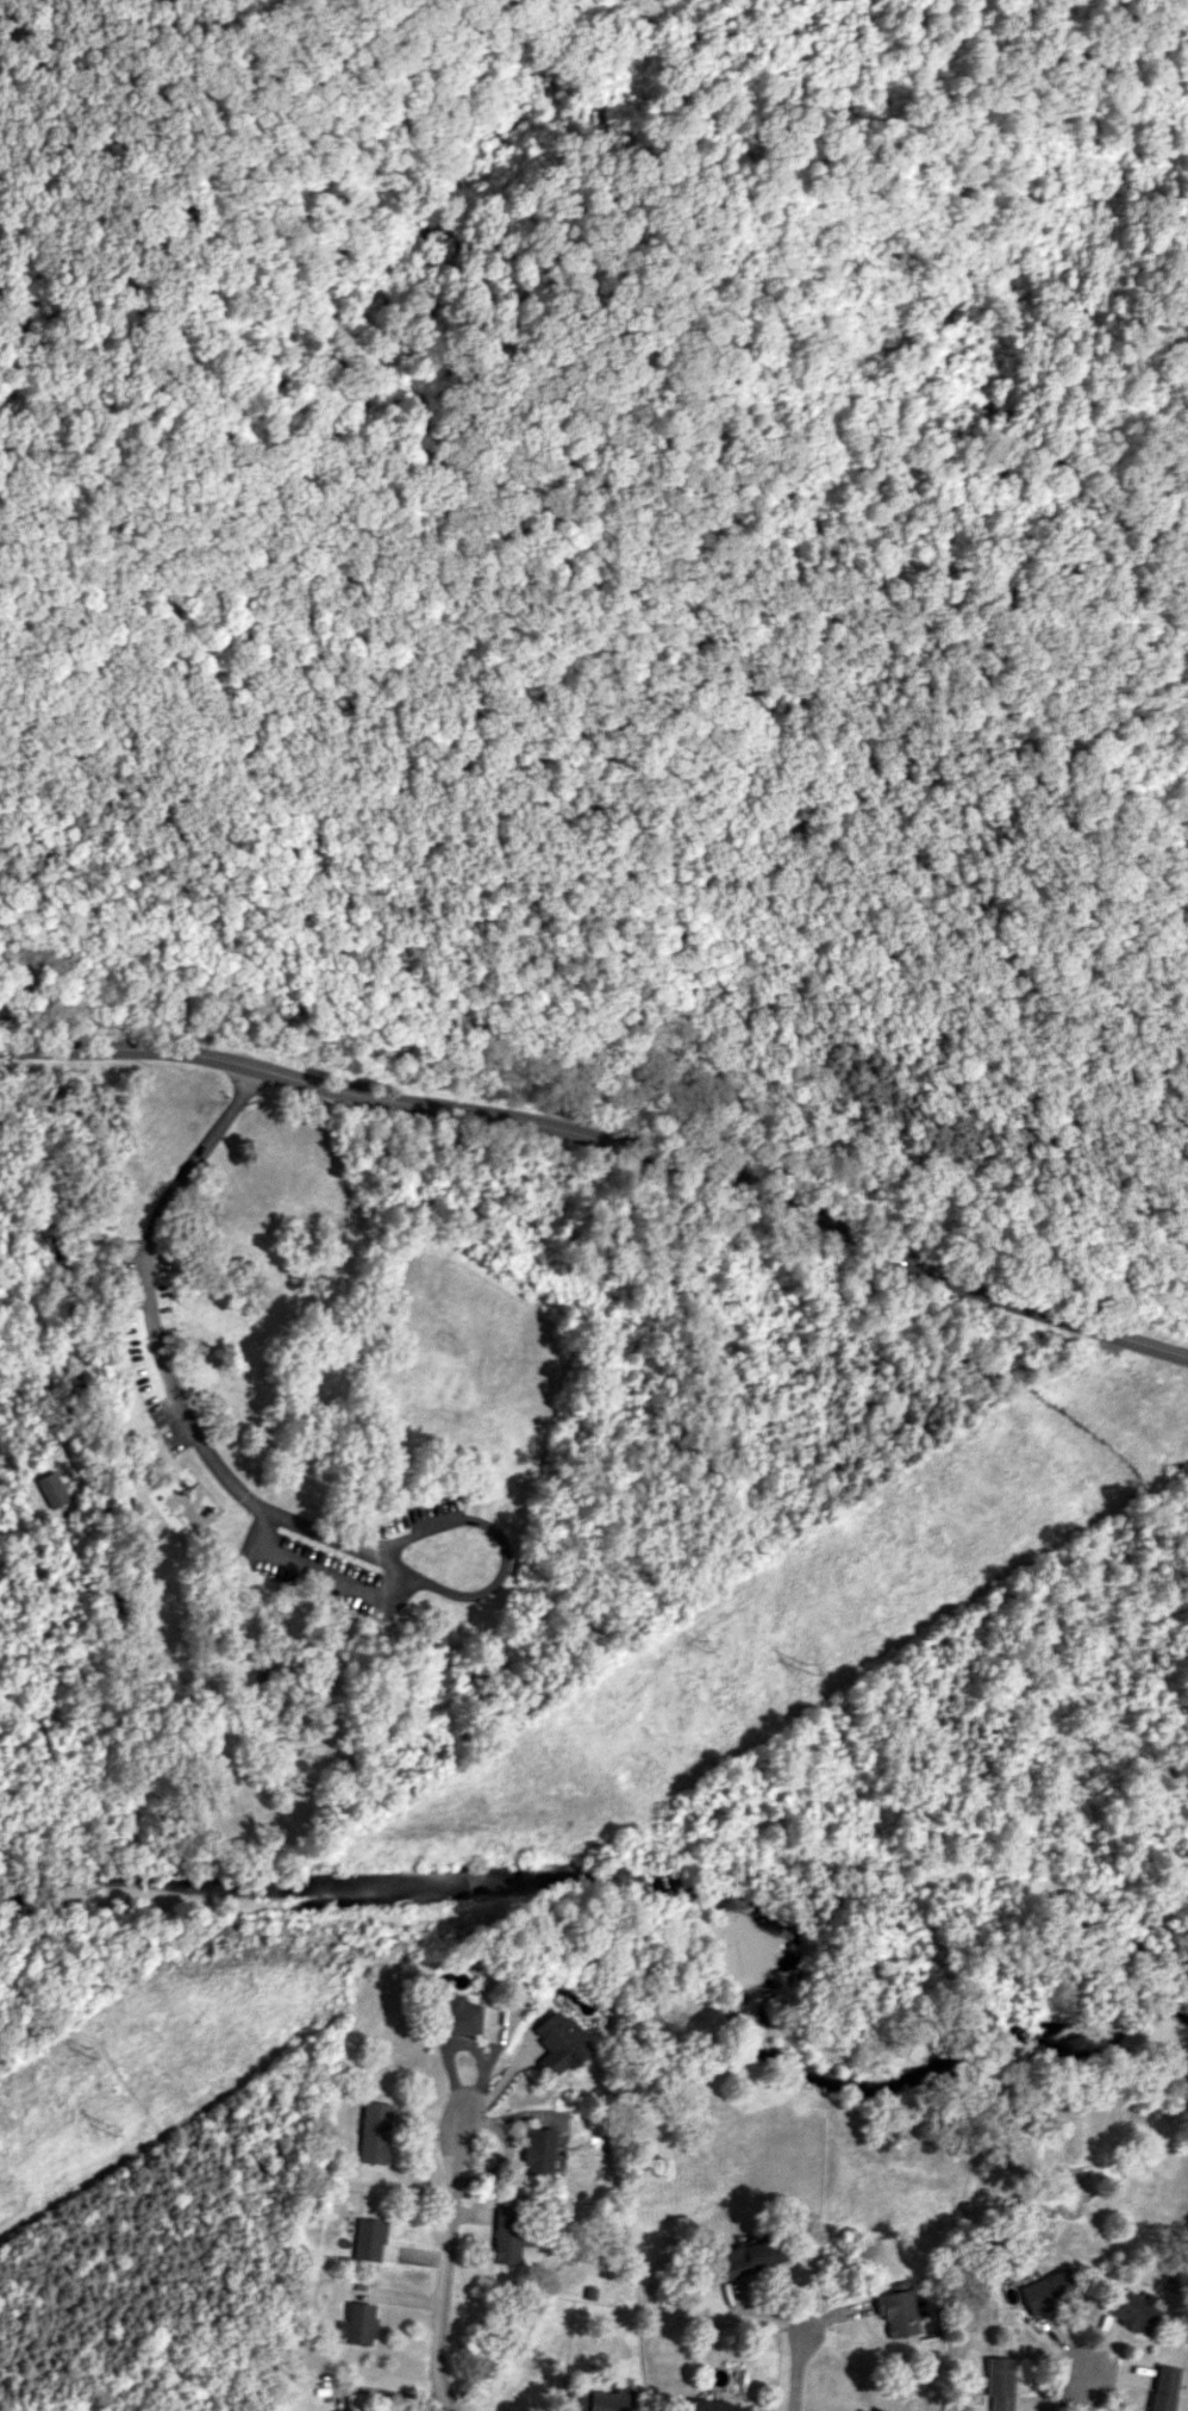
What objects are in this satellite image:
road: (619, 588)
road: (606, 1030)
road: (12, 1089)
road: (608, 1146)
road: (33, 1225)
road: (105, 1232)
parking lot: (126, 1266)
road: (11, 1468)
road: (236, 1488)
building: (51, 1489)
parking lot: (431, 1513)
road: (319, 1571)
power tower: (701, 1645)
power tower: (808, 1670)
road: (112, 1737)
road: (140, 1811)
river: (662, 1882)
building: (457, 2016)
building: (558, 2043)
power tower: (87, 2051)
power tower: (110, 2130)
building: (373, 2132)
building: (536, 2150)
building: (507, 2236)
building: (368, 2239)
road: (446, 2255)
building: (749, 2257)
building: (1046, 2289)
building: (898, 2310)
building: (1133, 2310)
building: (355, 2324)
road: (798, 2369)
building: (999, 2382)
building: (1163, 2387)
road: (1086, 2390)
building: (598, 2399)
building: (713, 2405)
building: (862, 2410)
building: (880, 2410)

